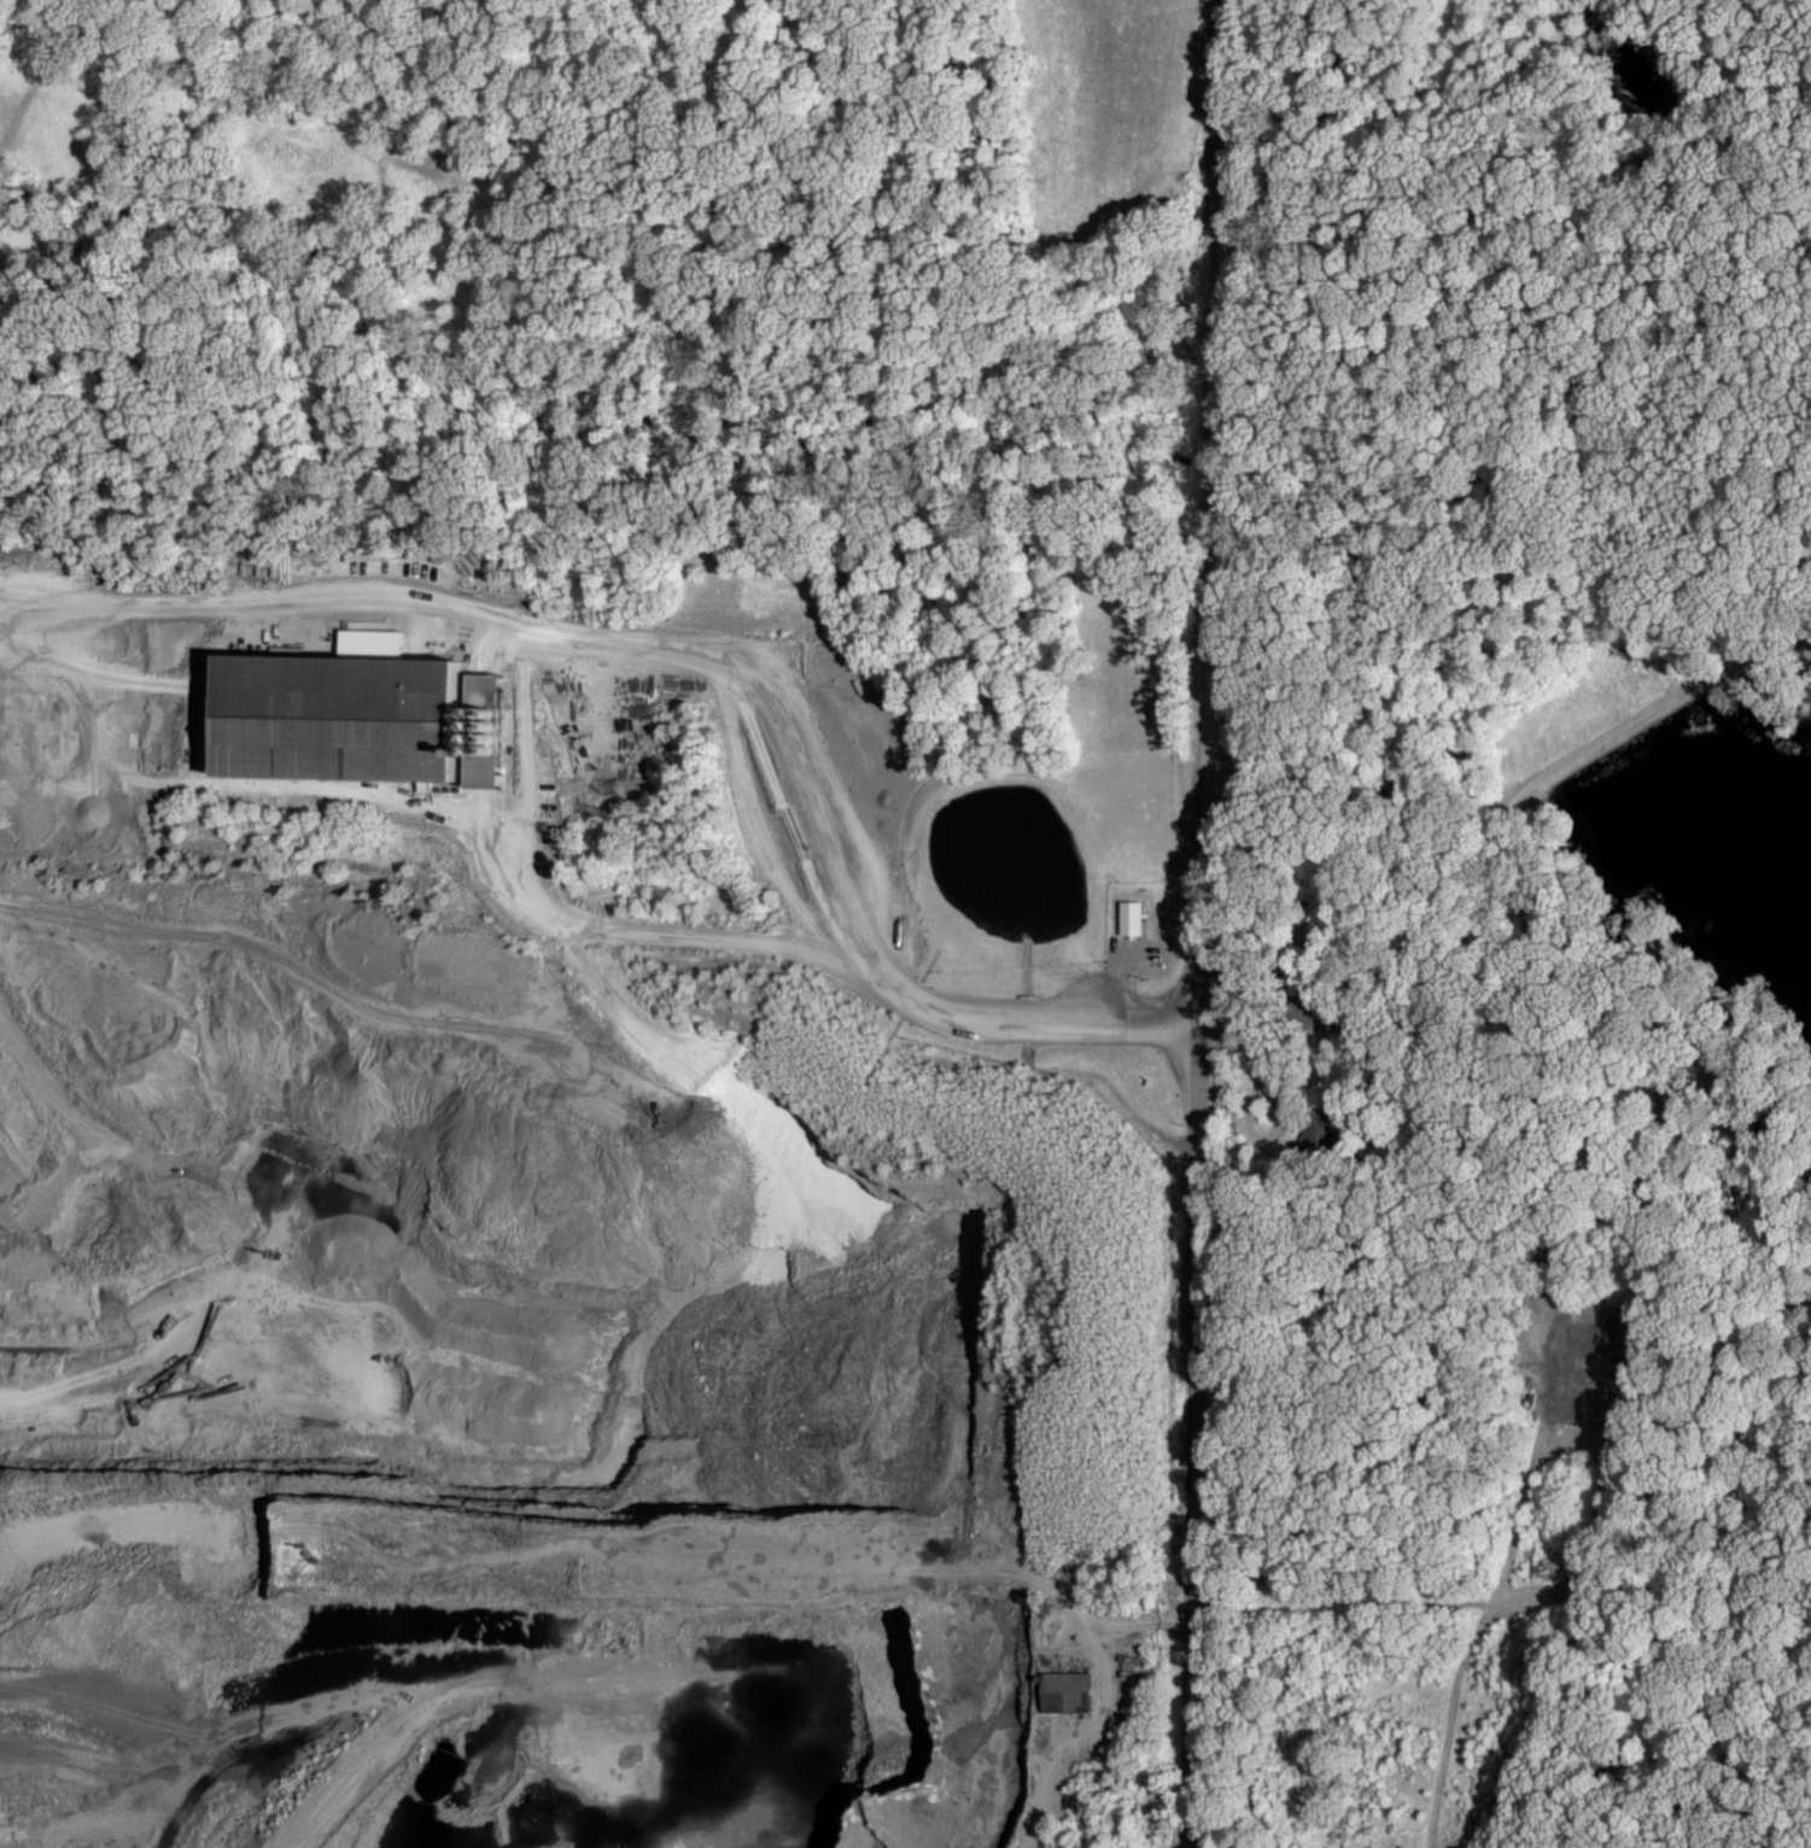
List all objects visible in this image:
road: (752, 666)
building: (366, 720)
road: (89, 829)
building: (1126, 917)
road: (553, 918)
road: (1213, 923)
building: (1071, 1689)

